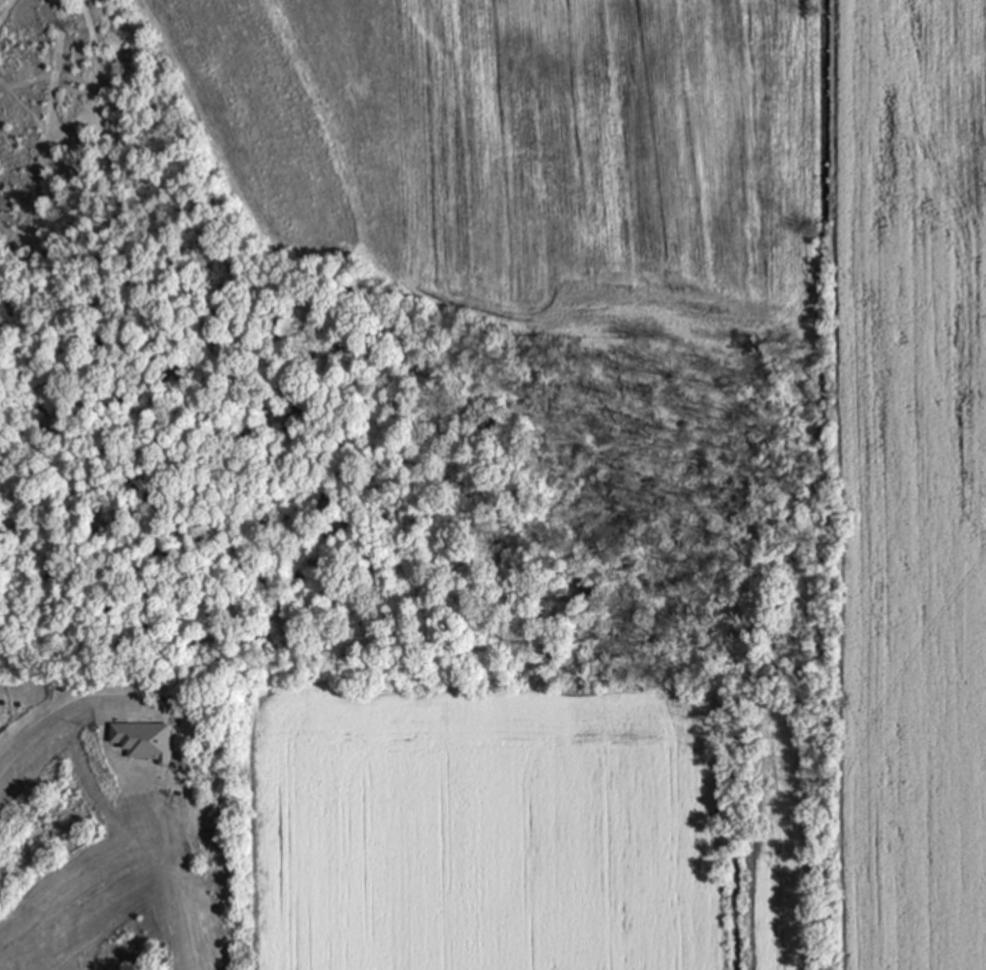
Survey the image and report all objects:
road: (43, 721)
building: (143, 742)

